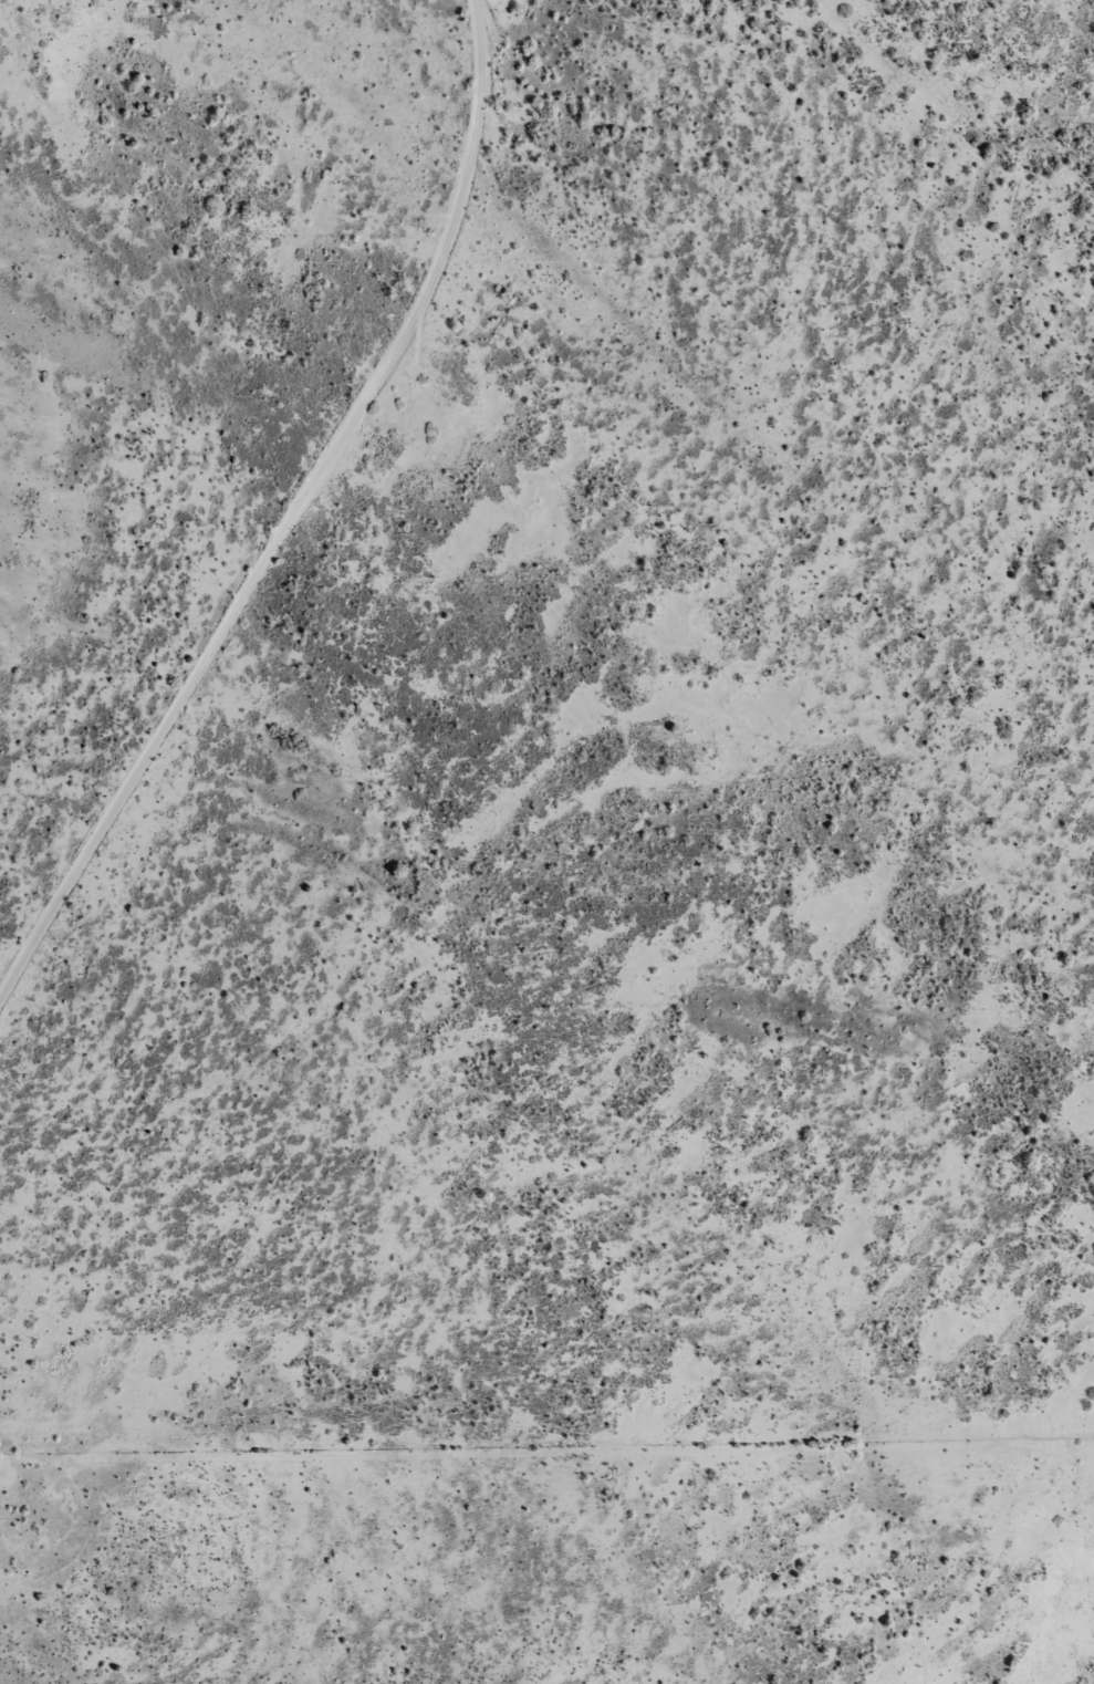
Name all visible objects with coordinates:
road: (310, 514)

